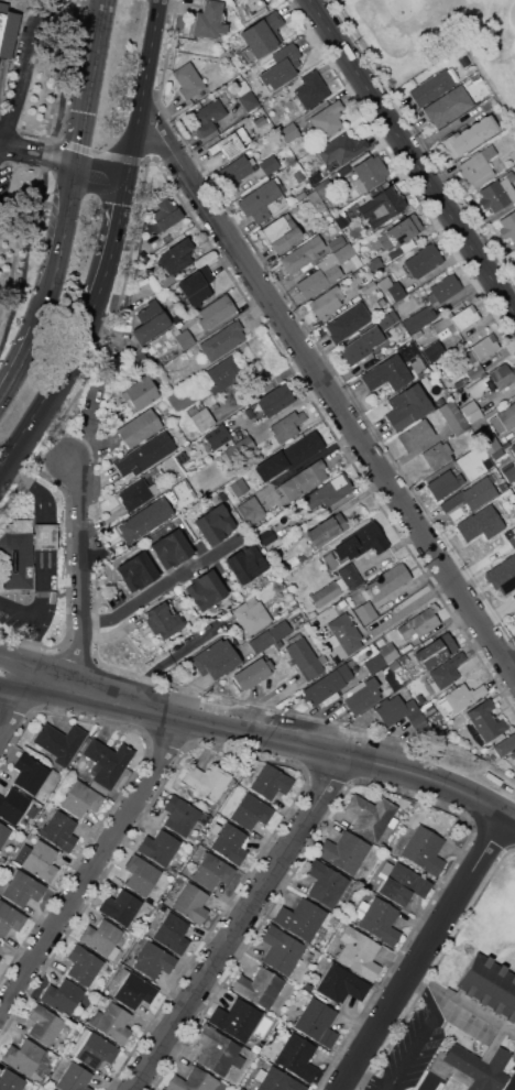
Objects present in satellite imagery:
road: (109, 0)
building: (242, 1)
building: (252, 6)
road: (109, 18)
building: (208, 20)
building: (1, 23)
building: (261, 36)
park: (440, 36)
building: (464, 61)
building: (282, 66)
road: (24, 69)
building: (469, 70)
building: (188, 80)
building: (431, 87)
building: (311, 89)
road: (146, 90)
building: (245, 95)
road: (94, 101)
building: (448, 106)
building: (208, 117)
building: (327, 120)
building: (251, 123)
building: (289, 132)
building: (469, 135)
building: (230, 143)
road: (43, 146)
building: (341, 149)
road: (414, 154)
road: (39, 162)
building: (270, 164)
building: (478, 166)
building: (238, 168)
building: (343, 170)
building: (370, 173)
road: (106, 174)
building: (315, 177)
building: (514, 183)
building: (321, 188)
building: (497, 193)
building: (313, 197)
building: (261, 200)
building: (381, 206)
building: (165, 215)
building: (341, 220)
building: (507, 226)
building: (280, 232)
building: (401, 236)
road: (118, 243)
building: (336, 243)
road: (67, 249)
building: (514, 250)
building: (303, 254)
building: (177, 255)
building: (346, 255)
building: (424, 260)
building: (374, 265)
building: (319, 277)
building: (168, 280)
building: (195, 286)
building: (368, 287)
building: (391, 288)
building: (443, 288)
building: (326, 302)
building: (215, 310)
building: (177, 317)
building: (419, 318)
building: (150, 321)
building: (348, 321)
building: (454, 321)
building: (198, 335)
building: (182, 337)
building: (222, 340)
building: (361, 346)
building: (482, 348)
building: (434, 350)
building: (136, 358)
road: (23, 369)
building: (475, 370)
building: (388, 373)
building: (222, 375)
building: (493, 380)
road: (329, 388)
building: (140, 393)
road: (56, 399)
building: (180, 400)
building: (271, 402)
building: (408, 407)
building: (470, 412)
building: (452, 416)
building: (200, 417)
building: (504, 418)
building: (287, 425)
building: (139, 428)
building: (416, 435)
building: (217, 436)
building: (246, 443)
building: (490, 443)
building: (513, 448)
building: (300, 449)
building: (496, 454)
building: (145, 455)
building: (437, 455)
building: (463, 459)
building: (509, 471)
building: (303, 481)
building: (514, 483)
building: (443, 484)
building: (239, 487)
building: (503, 487)
road: (36, 490)
building: (328, 491)
building: (136, 494)
building: (472, 494)
building: (222, 497)
building: (252, 509)
building: (145, 520)
building: (474, 523)
building: (213, 524)
building: (326, 530)
building: (45, 535)
road: (46, 535)
building: (370, 537)
building: (511, 537)
building: (171, 548)
building: (17, 555)
building: (300, 557)
building: (245, 563)
building: (136, 571)
building: (502, 573)
building: (350, 576)
road: (83, 578)
building: (386, 581)
road: (160, 588)
building: (206, 589)
building: (325, 593)
road: (40, 607)
road: (18, 611)
building: (365, 612)
building: (251, 615)
building: (162, 621)
building: (514, 621)
building: (418, 623)
building: (514, 623)
building: (269, 635)
building: (343, 636)
building: (435, 651)
building: (387, 653)
building: (305, 658)
building: (216, 660)
building: (374, 664)
road: (24, 665)
building: (394, 665)
road: (514, 667)
building: (446, 672)
building: (251, 674)
building: (391, 678)
building: (327, 684)
road: (21, 686)
building: (362, 695)
building: (463, 697)
building: (419, 699)
road: (19, 707)
building: (427, 709)
building: (399, 712)
building: (485, 719)
building: (61, 741)
road: (282, 742)
building: (505, 744)
building: (513, 754)
building: (106, 763)
building: (30, 773)
building: (207, 781)
building: (271, 782)
building: (80, 798)
building: (12, 805)
building: (32, 811)
building: (251, 811)
building: (179, 815)
building: (370, 816)
building: (59, 830)
building: (3, 832)
building: (230, 842)
building: (160, 847)
building: (424, 850)
building: (343, 851)
building: (37, 860)
road: (88, 865)
building: (211, 871)
building: (140, 874)
building: (326, 883)
building: (401, 883)
building: (22, 887)
building: (191, 903)
building: (120, 906)
building: (10, 918)
building: (300, 918)
building: (377, 920)
road: (243, 924)
building: (172, 931)
building: (101, 938)
building: (282, 949)
road: (426, 952)
building: (359, 953)
building: (153, 960)
building: (83, 964)
building: (341, 984)
building: (260, 987)
building: (307, 987)
building: (133, 989)
building: (486, 993)
building: (63, 996)
building: (235, 1018)
building: (112, 1022)
building: (317, 1023)
building: (43, 1024)
road: (420, 1033)
building: (94, 1049)
building: (218, 1050)
building: (23, 1056)
building: (297, 1057)
building: (474, 1065)
building: (74, 1078)
building: (276, 1080)
building: (10, 1081)
building: (193, 1081)
road: (366, 1081)
road: (509, 1082)
building: (50, 1089)

